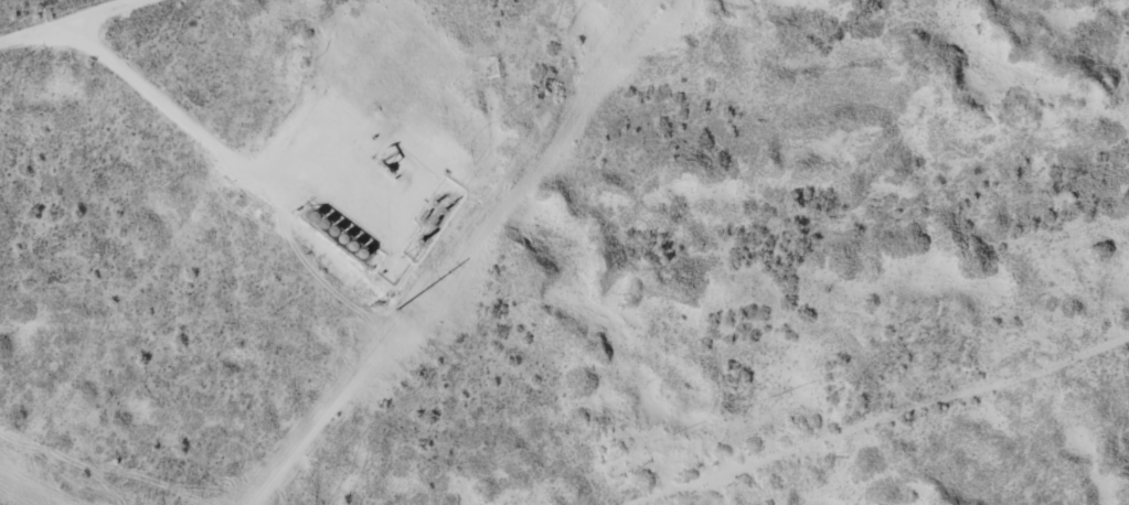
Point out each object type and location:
road: (83, 30)
power tower: (416, 312)
road: (862, 429)

